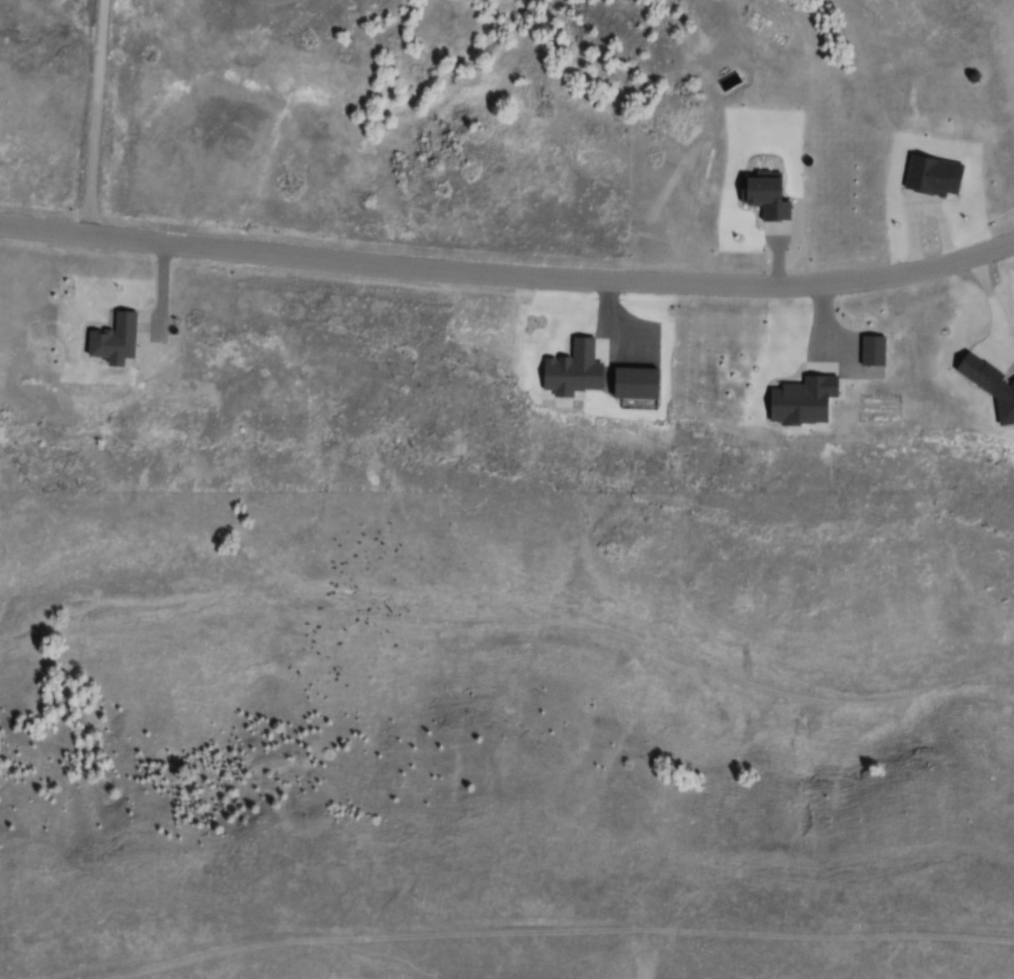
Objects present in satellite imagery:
road: (509, 271)

